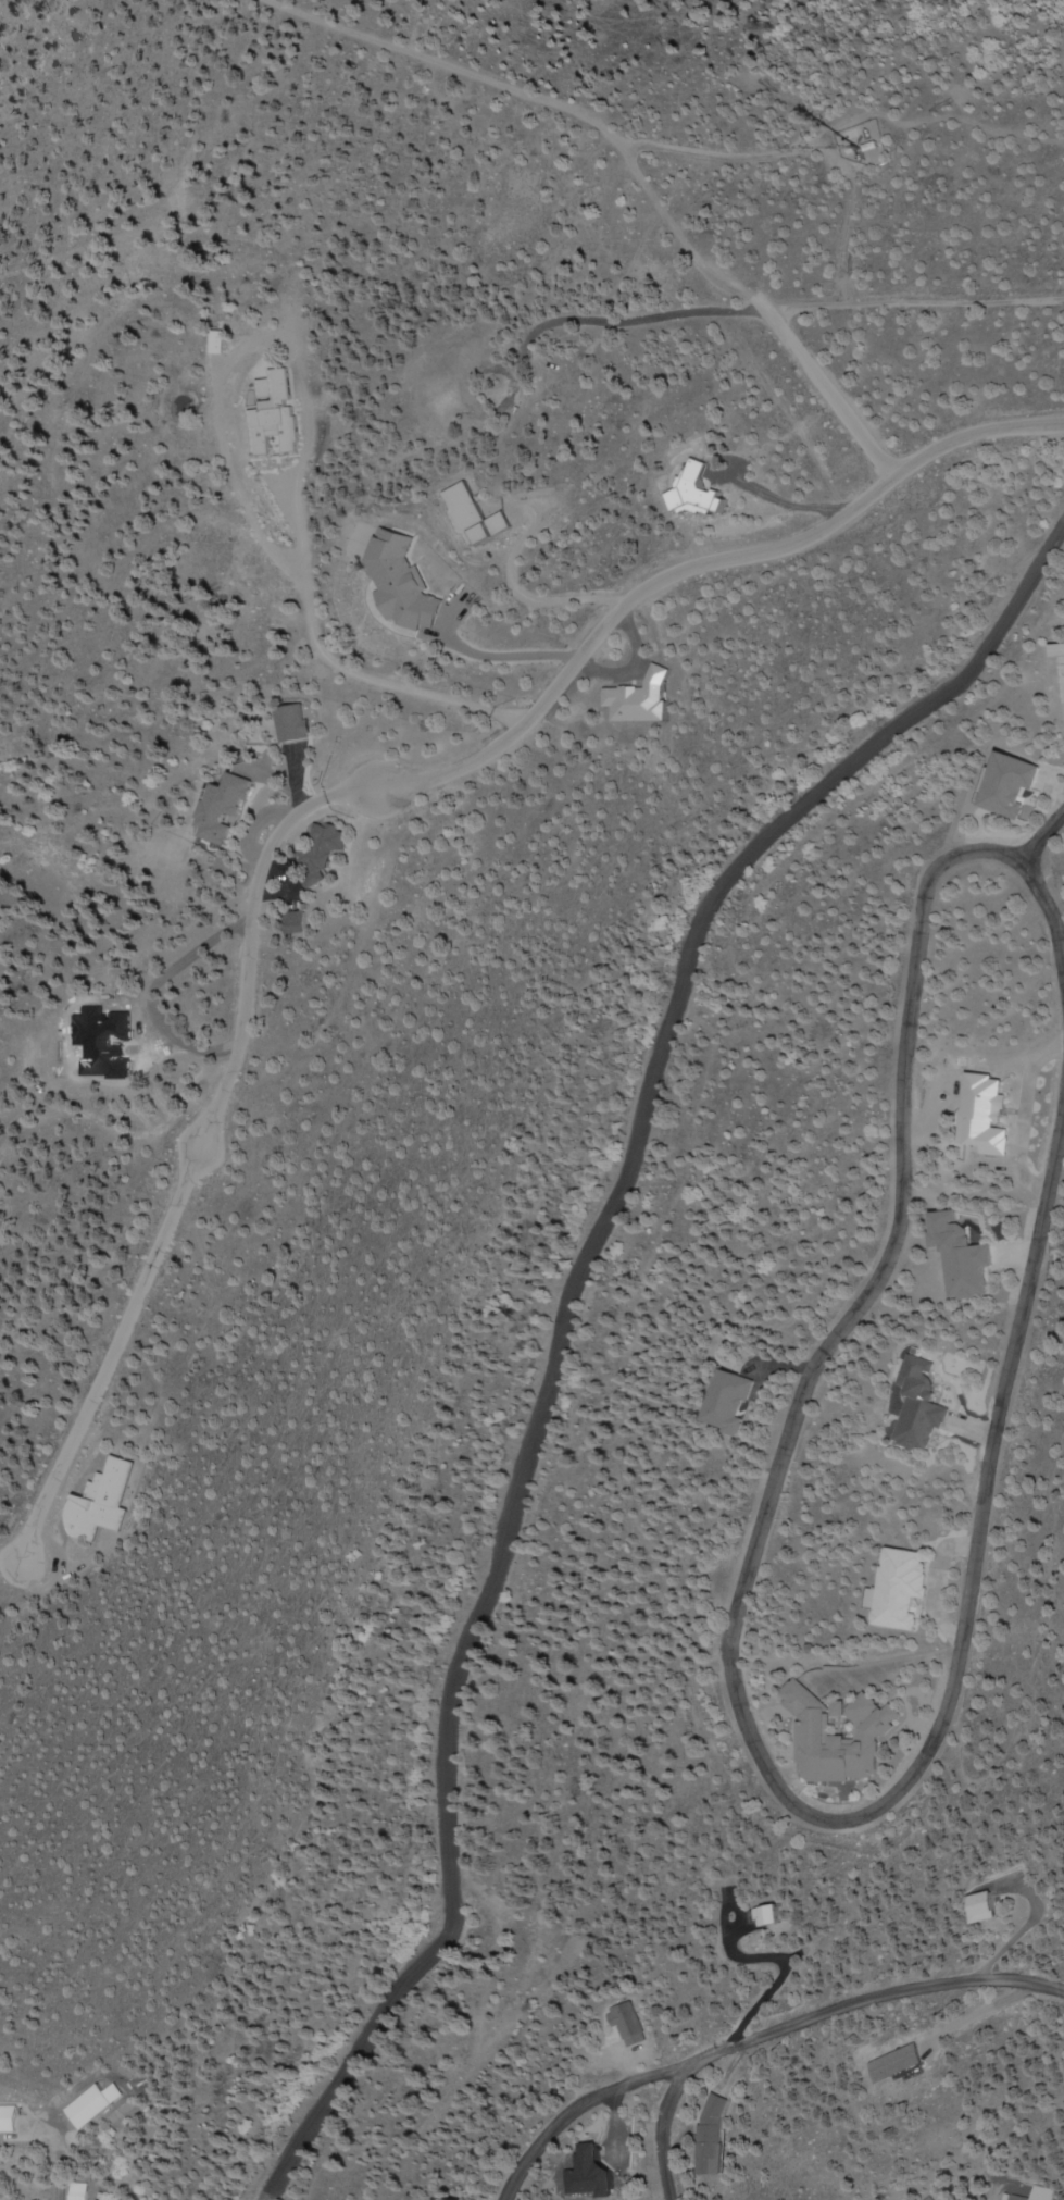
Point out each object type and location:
road: (634, 169)
building: (274, 417)
road: (974, 436)
building: (477, 519)
road: (1015, 591)
building: (1061, 650)
building: (1013, 785)
building: (225, 810)
road: (1041, 837)
building: (326, 843)
road: (265, 854)
road: (1049, 916)
building: (299, 922)
building: (989, 1115)
building: (965, 1256)
road: (540, 1397)
building: (729, 1402)
building: (919, 1406)
building: (108, 1503)
building: (898, 1590)
road: (733, 1688)
building: (840, 1736)
building: (989, 1909)
building: (779, 1917)
road: (867, 2000)
building: (630, 2027)
building: (894, 2065)
road: (640, 2086)
building: (8, 2120)
building: (718, 2137)
road: (47, 2186)

